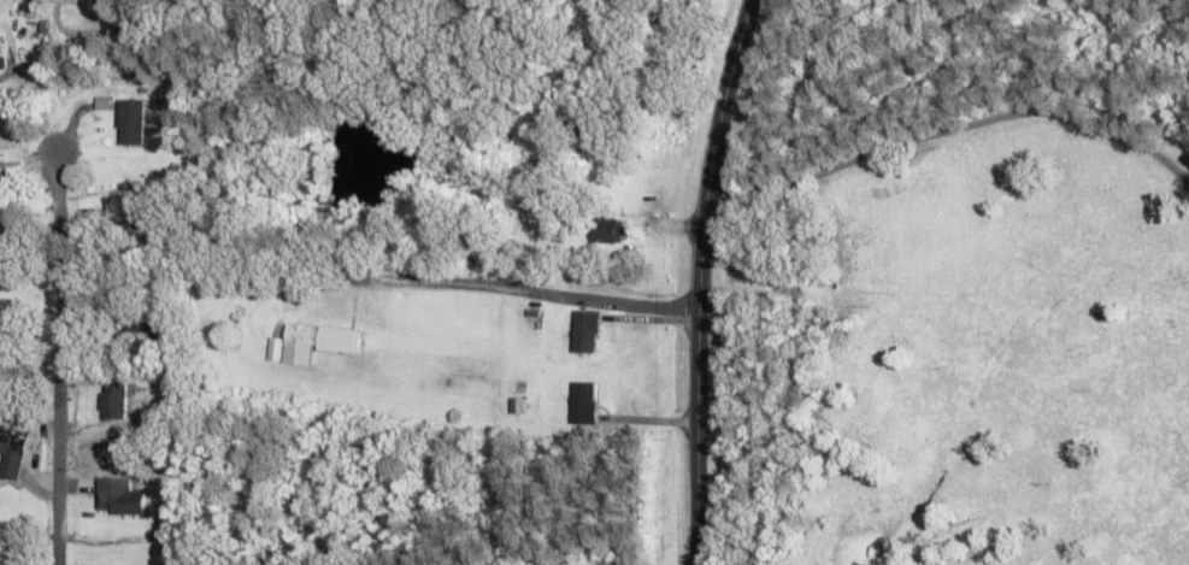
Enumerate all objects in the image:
building: (130, 125)
building: (605, 234)
road: (699, 279)
building: (140, 330)
building: (584, 335)
building: (317, 345)
road: (57, 359)
building: (114, 402)
building: (582, 405)
building: (11, 454)
building: (118, 496)

